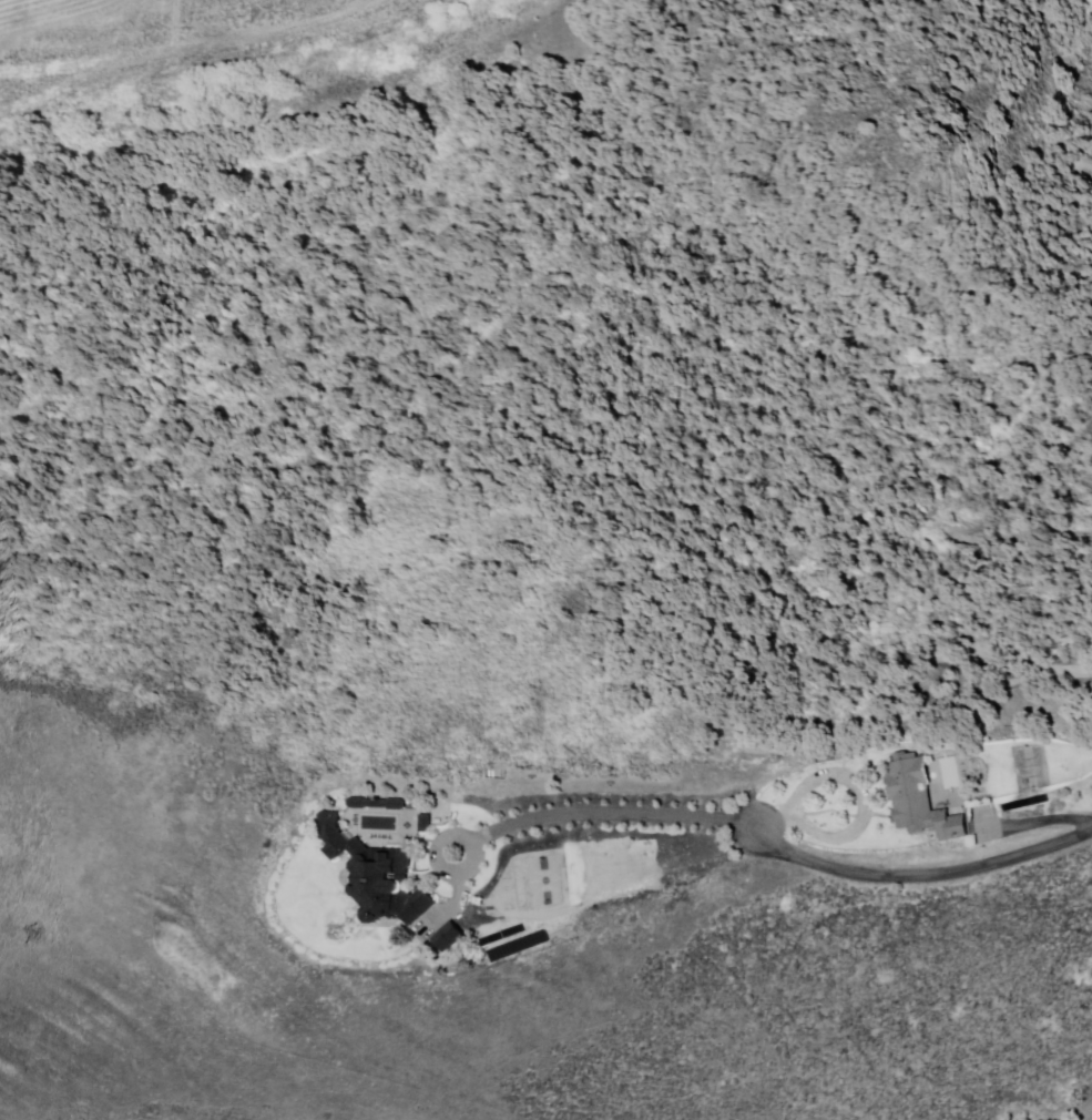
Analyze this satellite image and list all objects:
crop: (153, 39)
park: (1032, 768)
building: (920, 801)
building: (376, 804)
building: (425, 824)
road: (782, 849)
building: (376, 877)
park: (547, 883)
building: (438, 935)
building: (447, 938)

